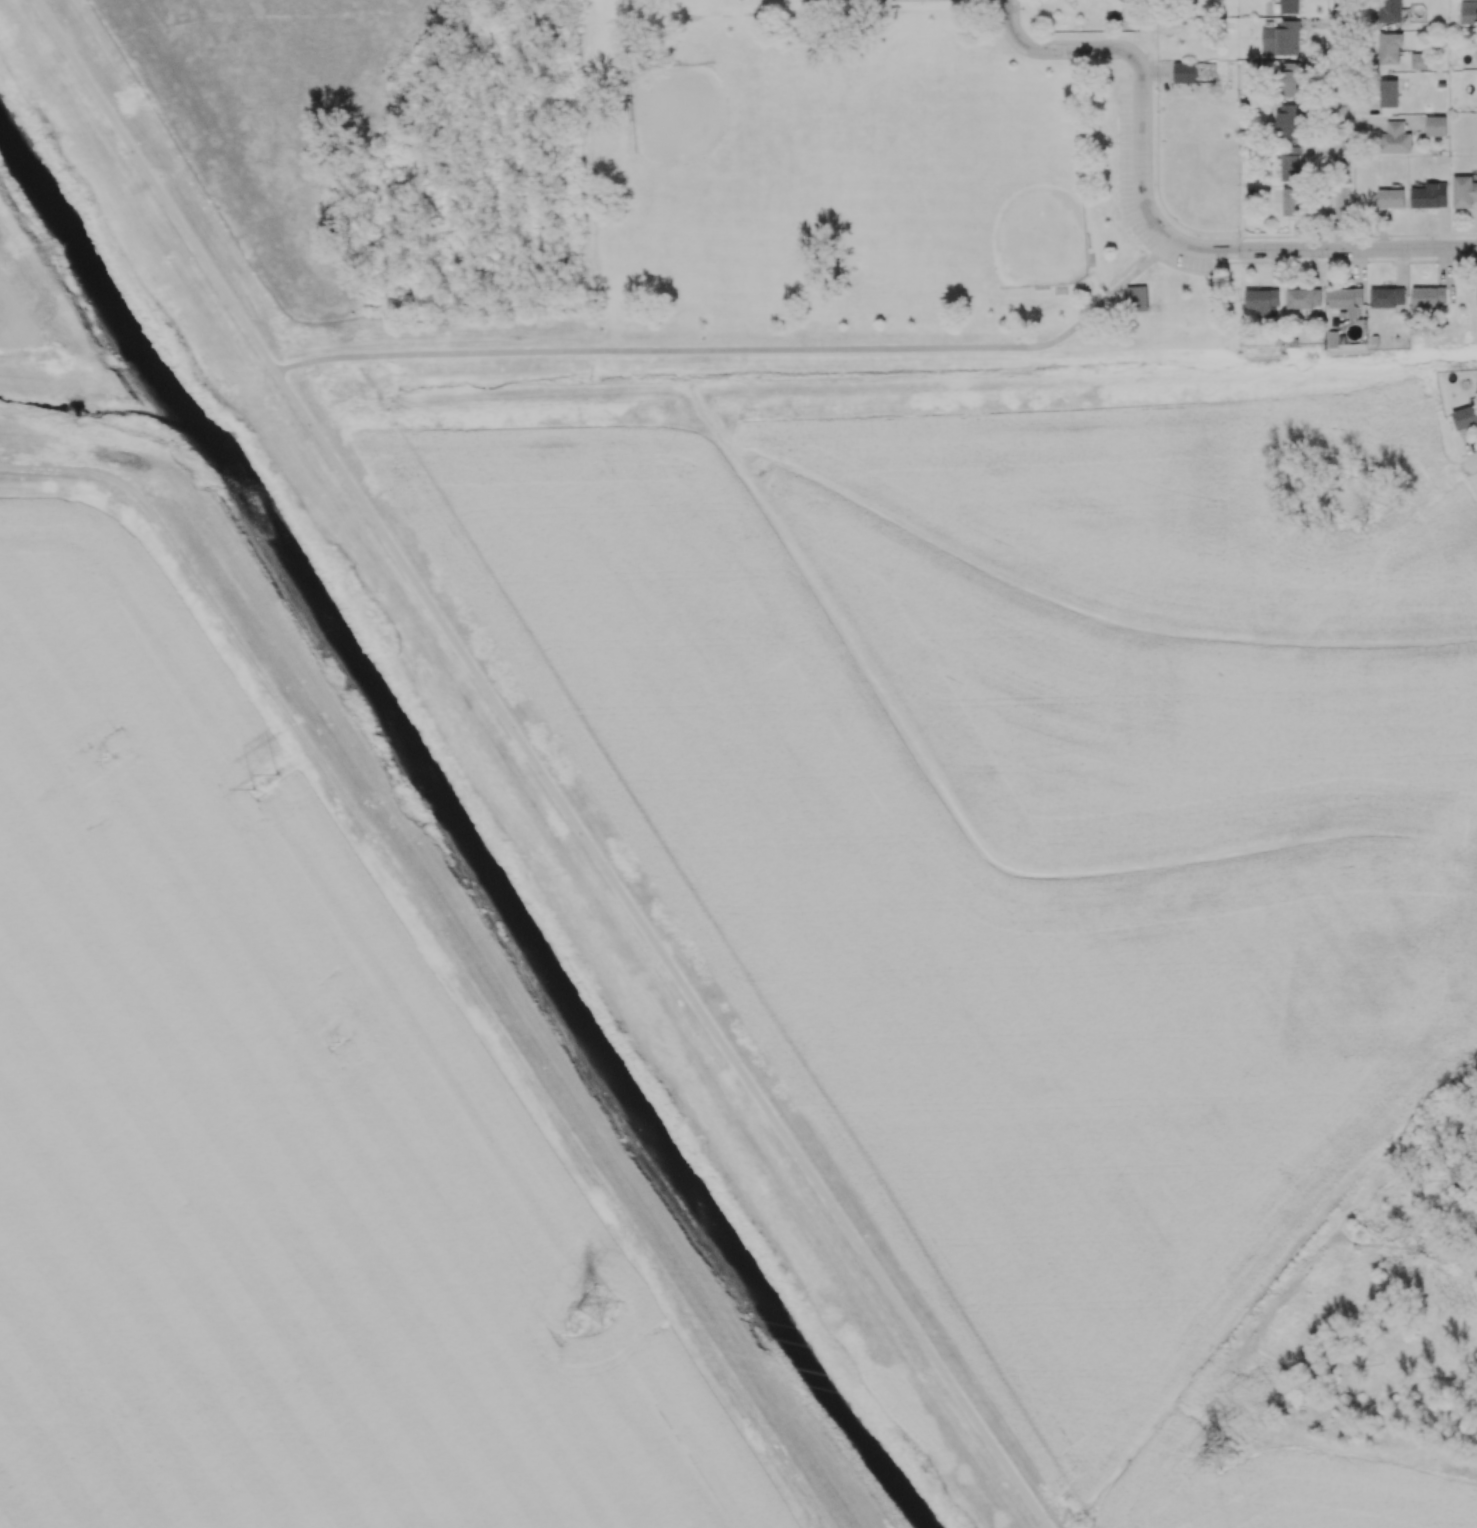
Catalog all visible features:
building: (1289, 6)
building: (1390, 10)
building: (1468, 11)
building: (1281, 38)
road: (1066, 49)
building: (1390, 49)
building: (1417, 60)
building: (1183, 71)
building: (1289, 82)
building: (1388, 92)
building: (1287, 120)
road: (1339, 125)
building: (1436, 125)
parking lot: (1129, 131)
building: (1395, 138)
road: (1151, 144)
park: (732, 153)
building: (1290, 163)
road: (158, 185)
road: (1140, 185)
park: (888, 187)
building: (1463, 191)
park: (995, 194)
building: (1430, 195)
building: (1390, 198)
building: (1292, 201)
road: (1409, 249)
road: (1276, 251)
road: (1308, 262)
river: (95, 291)
building: (1476, 293)
building: (1429, 296)
building: (1303, 297)
building: (1386, 297)
building: (1139, 299)
building: (1346, 299)
building: (1261, 300)
building: (1332, 340)
road: (742, 349)
building: (1465, 416)
road: (1474, 469)
power tower: (105, 760)
power tower: (270, 787)
crop: (1036, 812)
road: (662, 951)
river: (552, 986)
power tower: (334, 1045)
power tower: (604, 1308)
power tower: (568, 1331)
power tower: (1222, 1454)
crop: (1277, 1490)

